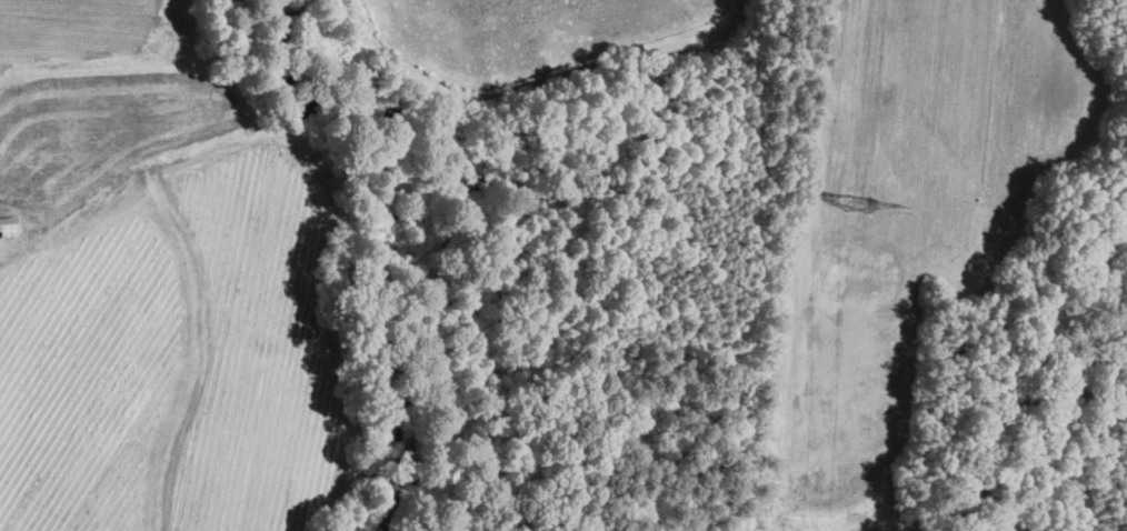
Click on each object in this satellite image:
power tower: (861, 206)
building: (8, 226)

